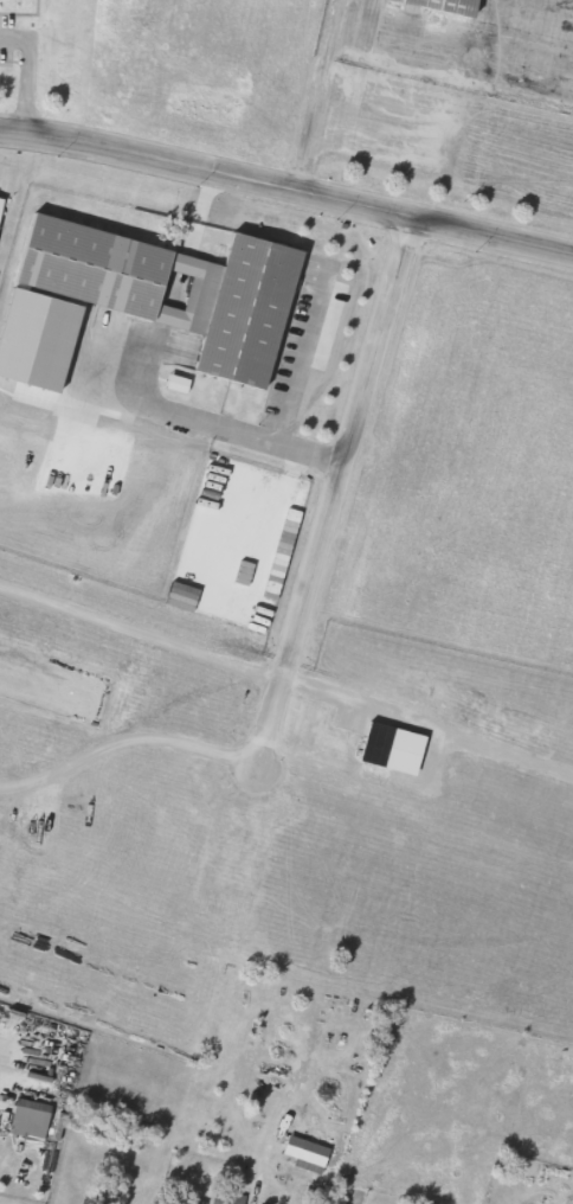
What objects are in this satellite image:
building: (439, 7)
road: (26, 71)
road: (286, 185)
building: (251, 310)
road: (286, 389)
road: (180, 412)
road: (331, 488)
building: (38, 1120)
building: (303, 1157)
building: (221, 1197)
building: (181, 1202)

